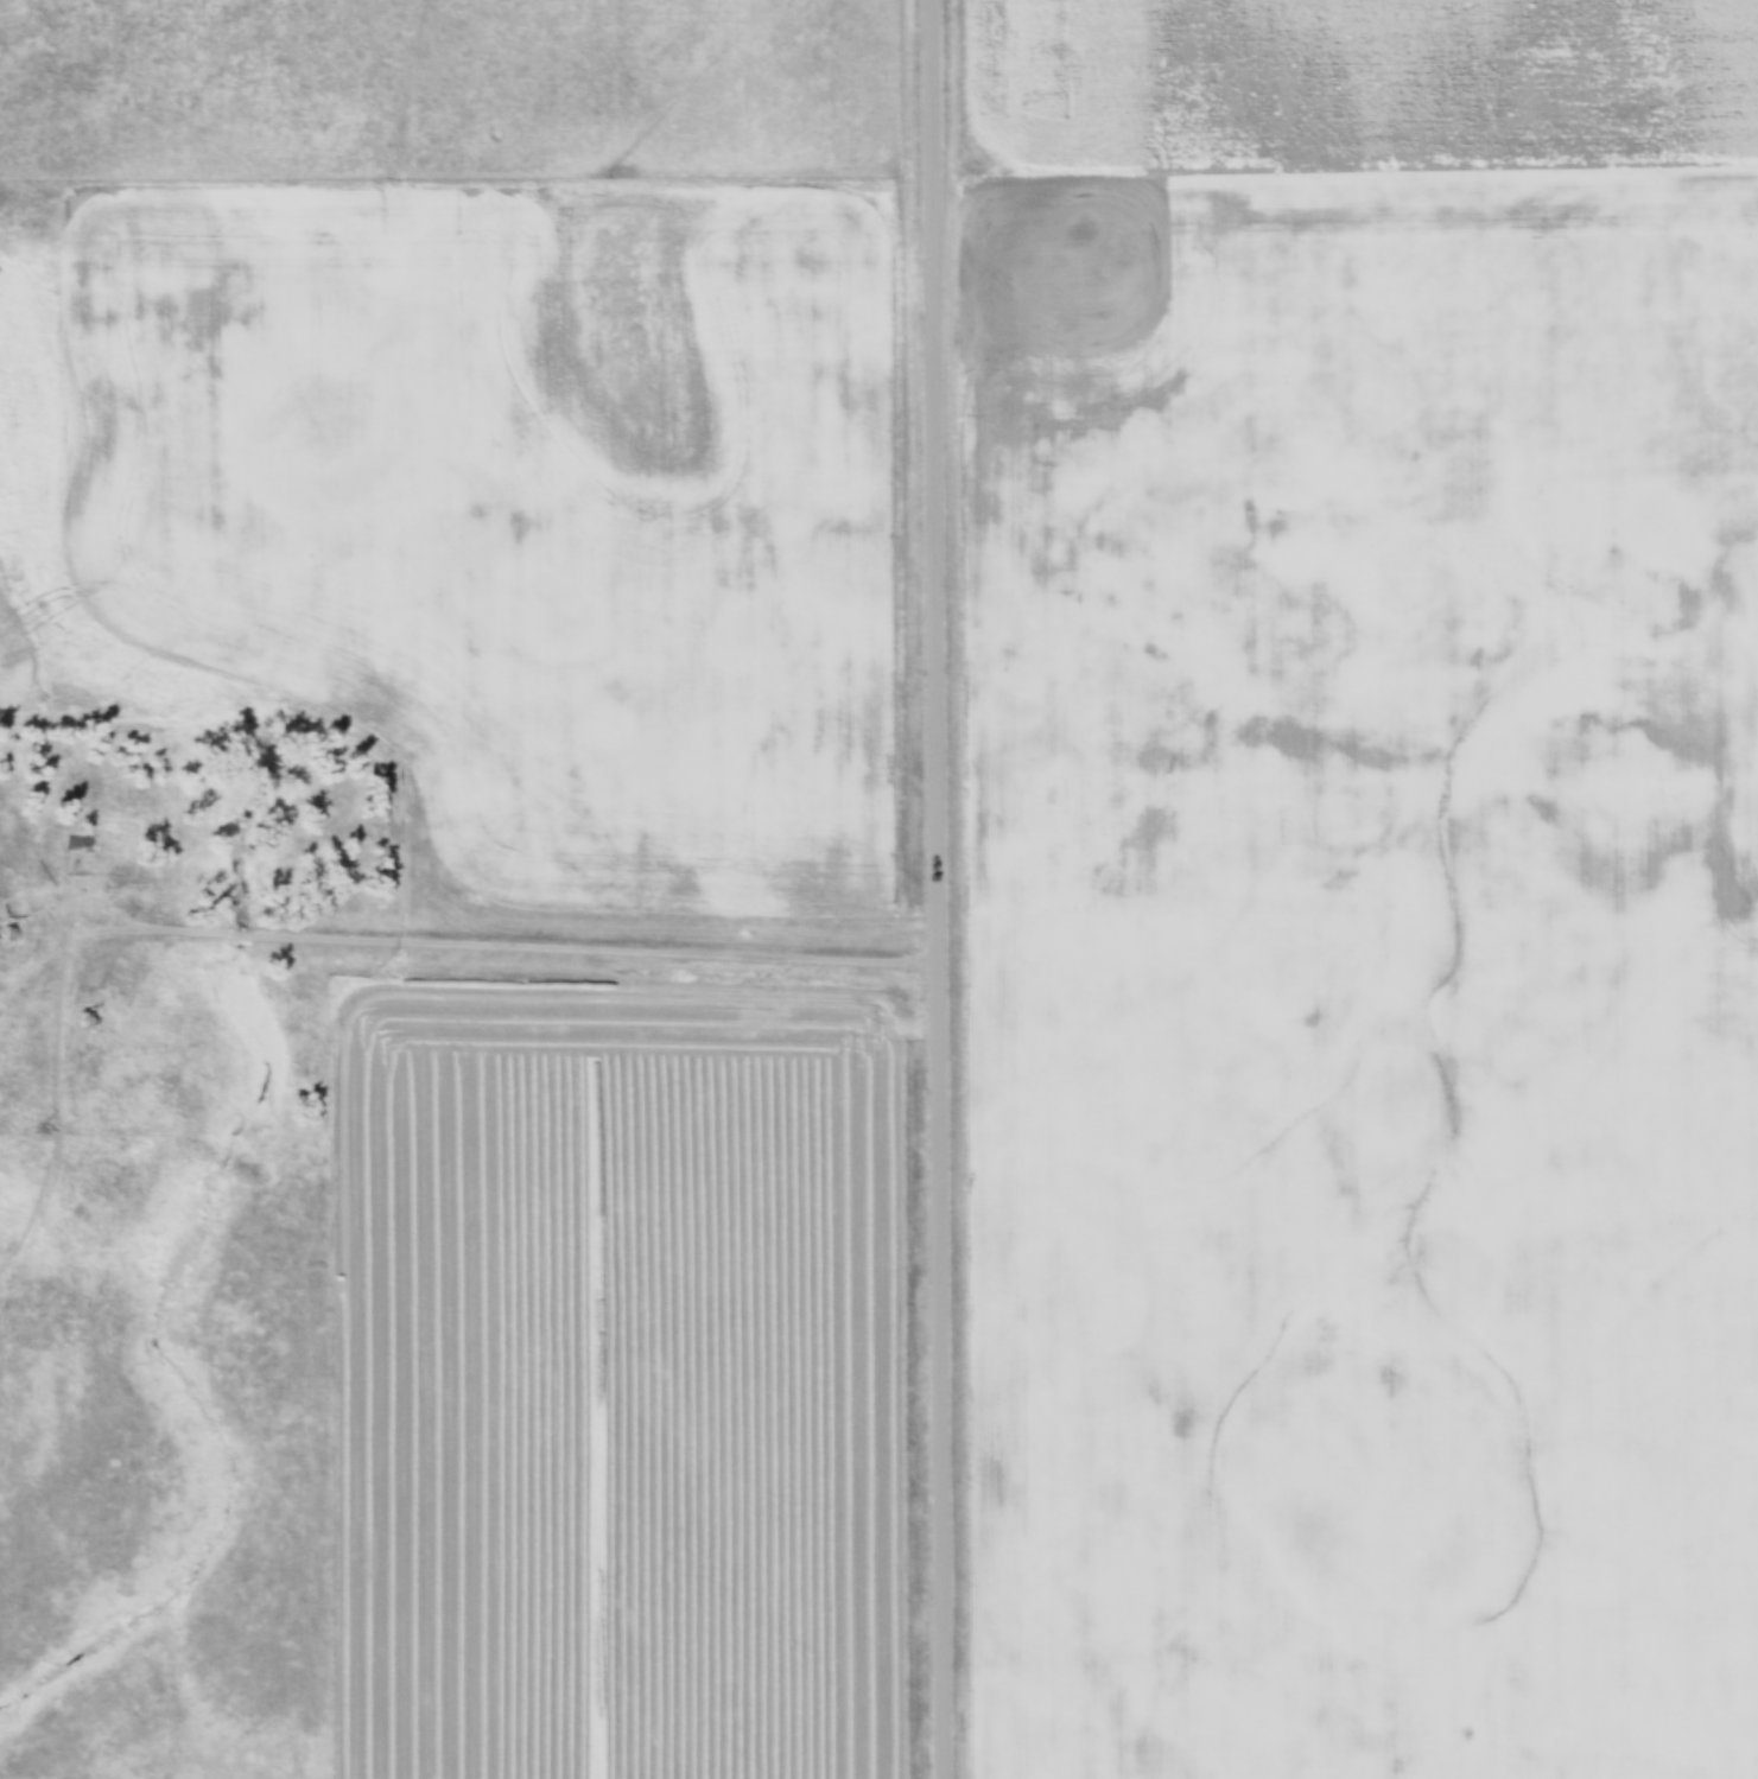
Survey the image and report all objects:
building: (76, 843)
road: (938, 889)
road: (265, 936)
road: (665, 954)

